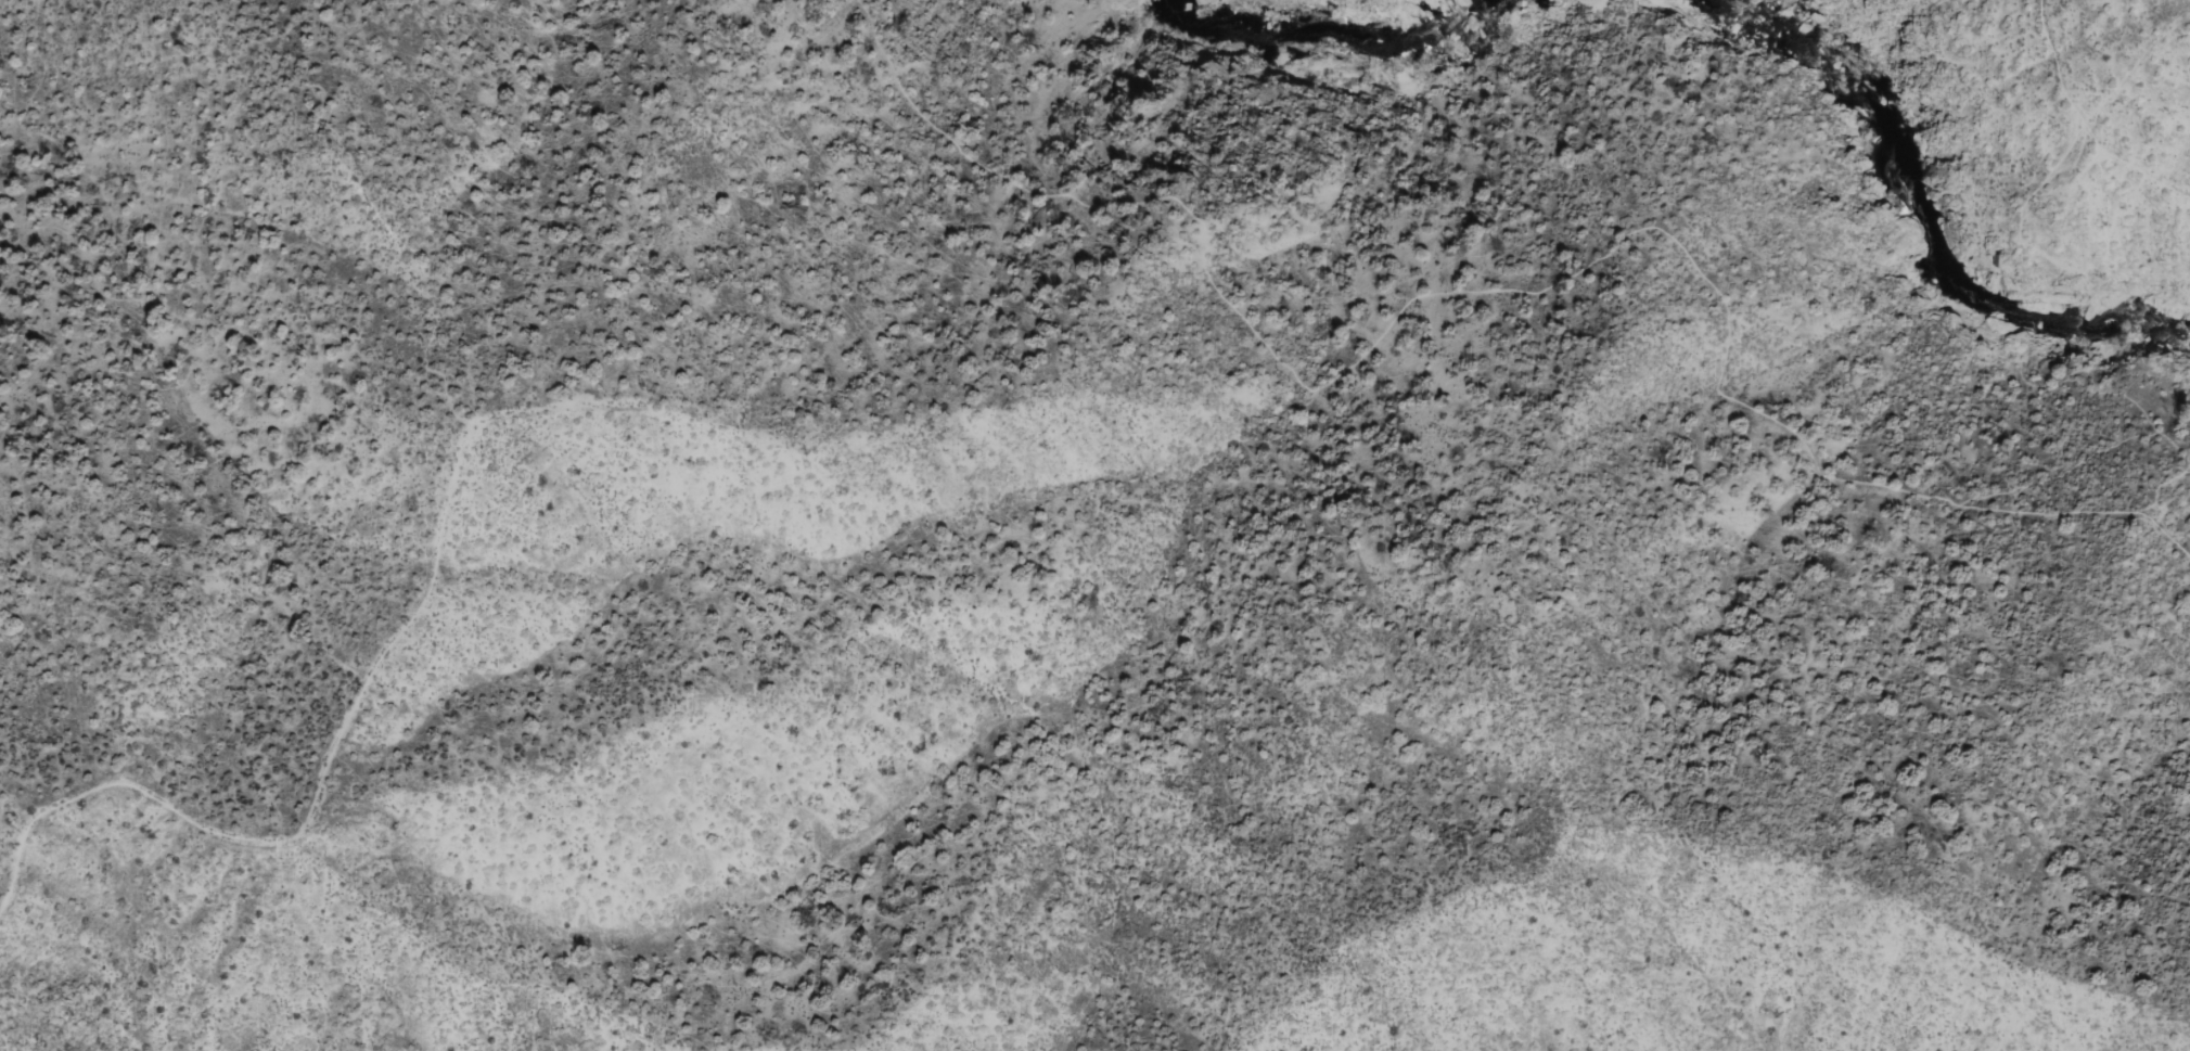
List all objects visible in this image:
road: (1510, 290)
road: (2118, 448)

